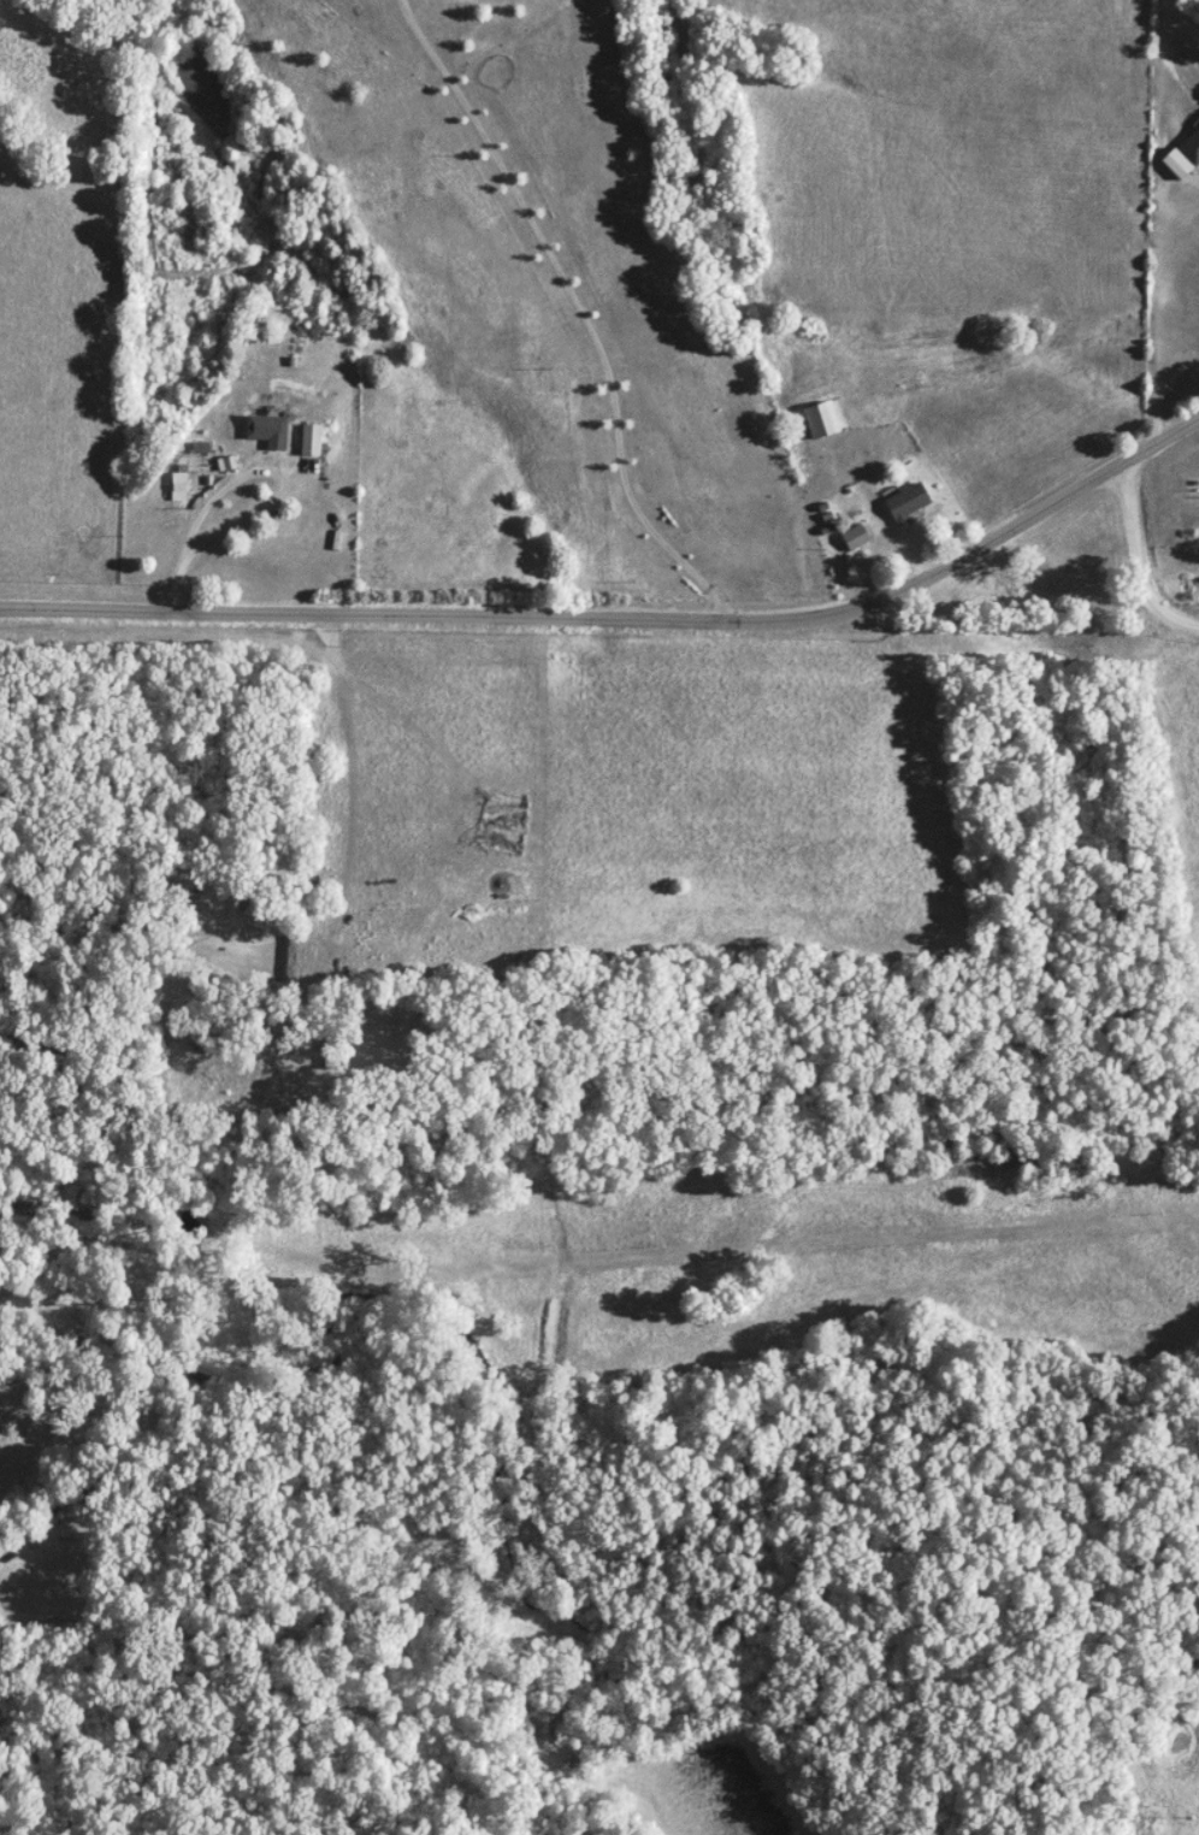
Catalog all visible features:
building: (1192, 148)
road: (574, 307)
building: (822, 419)
building: (267, 429)
building: (312, 439)
road: (1152, 444)
road: (240, 472)
building: (179, 486)
building: (908, 502)
road: (872, 512)
building: (856, 536)
road: (1126, 576)
road: (175, 579)
road: (571, 616)

